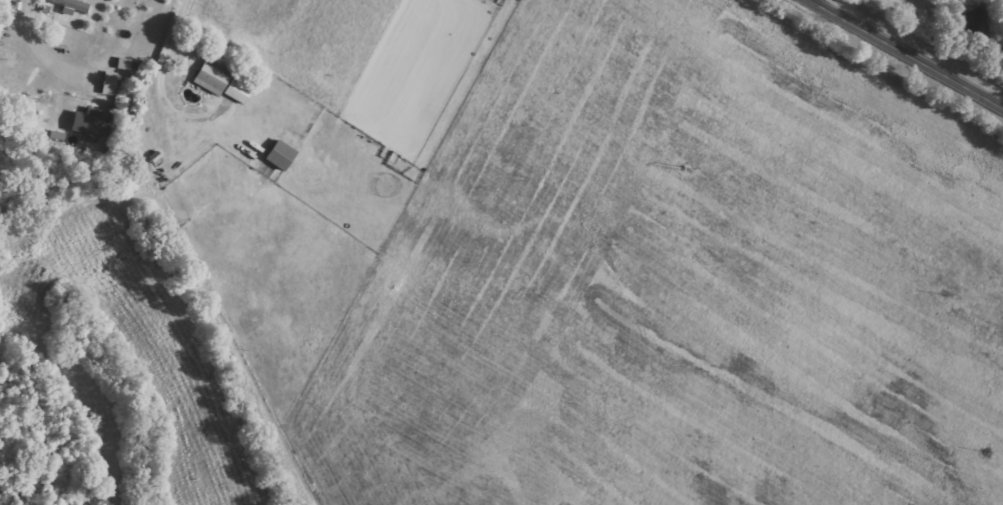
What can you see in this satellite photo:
building: (68, 6)
road: (912, 50)
building: (209, 79)
building: (106, 84)
building: (235, 93)
building: (85, 123)
building: (277, 156)
power tower: (683, 168)

